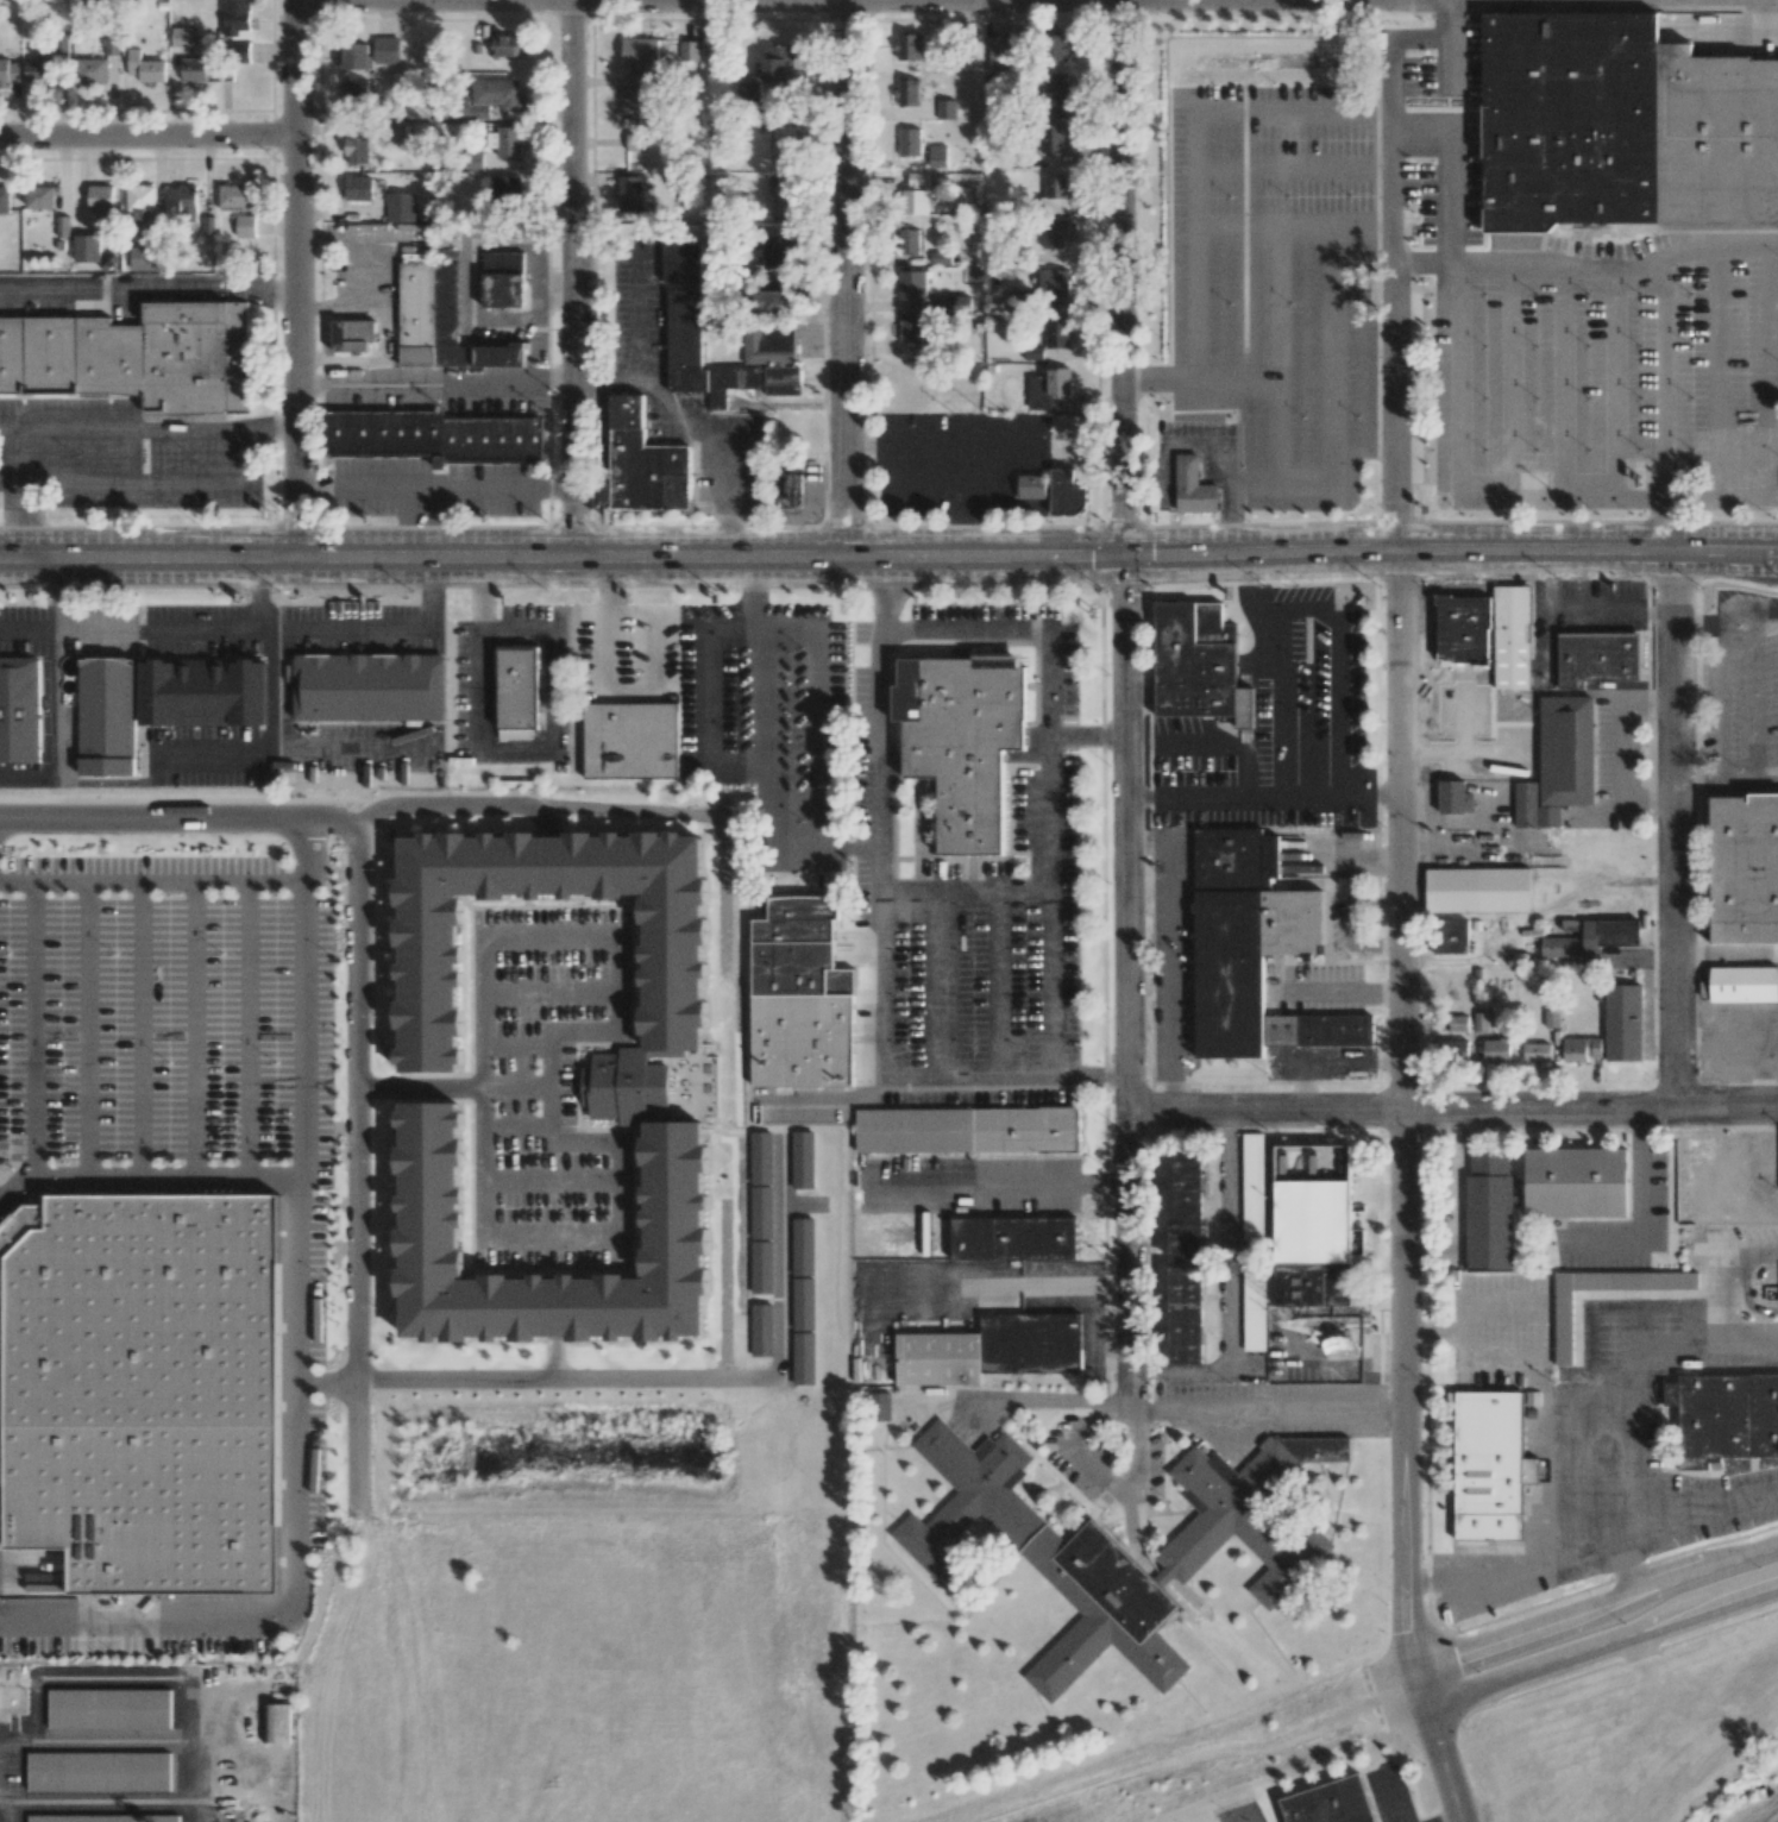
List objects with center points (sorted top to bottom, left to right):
road: (642, 0)
road: (1393, 0)
park: (1531, 0)
road: (1518, 1)
building: (235, 18)
building: (180, 37)
building: (61, 44)
building: (505, 45)
building: (112, 46)
building: (909, 46)
building: (1056, 48)
building: (238, 49)
building: (689, 50)
building: (640, 51)
building: (999, 51)
building: (369, 54)
building: (777, 63)
building: (39, 67)
building: (145, 68)
building: (194, 70)
building: (8, 71)
building: (92, 71)
building: (353, 92)
building: (747, 92)
building: (909, 93)
building: (1053, 96)
building: (490, 98)
building: (633, 98)
building: (947, 109)
building: (1622, 127)
road: (147, 137)
building: (1054, 138)
building: (505, 142)
building: (635, 142)
building: (909, 142)
building: (784, 145)
building: (358, 151)
building: (937, 156)
building: (475, 162)
building: (358, 188)
building: (504, 188)
building: (917, 193)
building: (1055, 193)
building: (630, 194)
building: (237, 196)
building: (40, 197)
building: (100, 197)
building: (784, 197)
building: (182, 199)
building: (5, 200)
building: (139, 201)
building: (401, 207)
building: (62, 226)
building: (208, 226)
building: (245, 226)
building: (1051, 235)
building: (909, 241)
building: (87, 249)
building: (777, 253)
road: (1506, 256)
building: (146, 258)
building: (940, 258)
building: (683, 262)
road: (296, 279)
building: (503, 279)
road: (572, 281)
road: (848, 281)
road: (1123, 281)
building: (1053, 282)
building: (912, 284)
road: (147, 291)
building: (773, 297)
road: (1395, 300)
building: (1020, 301)
building: (440, 320)
building: (685, 328)
building: (910, 331)
building: (1057, 332)
building: (352, 335)
building: (769, 346)
building: (1032, 353)
building: (133, 358)
building: (1048, 388)
road: (1666, 400)
road: (272, 423)
building: (435, 436)
road: (250, 455)
building: (643, 464)
road: (1477, 485)
building: (1031, 486)
building: (1193, 486)
road: (435, 489)
building: (787, 491)
road: (24, 492)
building: (1067, 492)
road: (420, 524)
traffic signals: (1123, 563)
road: (888, 564)
road: (886, 598)
road: (609, 626)
building: (1487, 646)
road: (656, 649)
building: (1596, 659)
building: (1196, 660)
building: (370, 687)
building: (517, 687)
building: (203, 692)
building: (20, 710)
building: (108, 718)
building: (514, 734)
road: (1086, 735)
building: (630, 740)
building: (960, 741)
building: (1565, 755)
road: (1049, 771)
building: (1455, 798)
building: (1526, 804)
road: (1669, 830)
building: (1745, 868)
road: (150, 878)
building: (1477, 890)
road: (963, 893)
road: (578, 936)
building: (1451, 936)
building: (1592, 938)
building: (1254, 949)
road: (1173, 953)
road: (879, 975)
road: (1126, 980)
building: (664, 981)
building: (1744, 984)
road: (998, 985)
road: (938, 986)
road: (357, 989)
building: (800, 998)
building: (1481, 1020)
building: (1622, 1022)
building: (1458, 1023)
road: (32, 1026)
road: (87, 1028)
road: (142, 1028)
road: (194, 1028)
road: (246, 1029)
building: (1457, 1049)
building: (1581, 1049)
building: (1496, 1050)
building: (1537, 1053)
road: (420, 1088)
building: (624, 1094)
road: (824, 1099)
road: (1452, 1110)
building: (967, 1130)
building: (761, 1157)
building: (803, 1160)
road: (146, 1179)
road: (1004, 1181)
building: (1252, 1186)
road: (1401, 1189)
building: (1570, 1189)
building: (1188, 1207)
building: (420, 1211)
building: (760, 1212)
building: (1485, 1217)
building: (1013, 1238)
road: (620, 1242)
building: (803, 1246)
building: (761, 1268)
building: (1318, 1268)
road: (989, 1284)
building: (803, 1303)
building: (1256, 1305)
building: (1189, 1315)
building: (1563, 1327)
building: (761, 1330)
building: (991, 1349)
road: (295, 1356)
building: (803, 1358)
road: (325, 1382)
building: (134, 1387)
road: (1010, 1397)
building: (879, 1406)
road: (1088, 1421)
building: (1722, 1421)
road: (1138, 1444)
road: (1097, 1470)
building: (1485, 1474)
building: (1113, 1546)
road: (1596, 1610)
road: (1600, 1644)
building: (108, 1708)
building: (275, 1722)
building: (99, 1771)
road: (1396, 1799)
building: (1331, 1803)
building: (100, 1818)
road: (1456, 1820)

